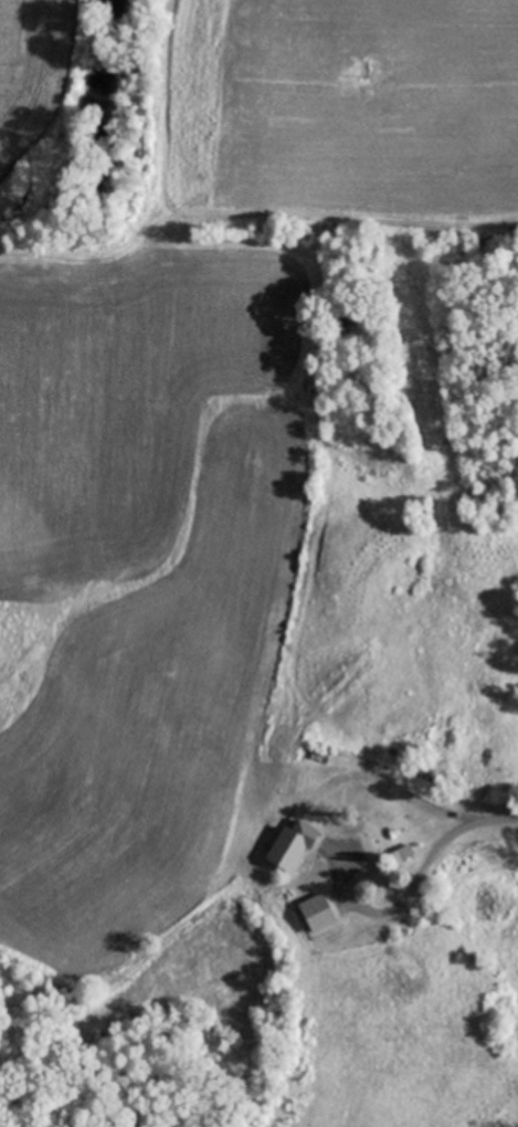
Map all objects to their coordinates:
road: (316, 812)
road: (491, 838)
building: (355, 855)

